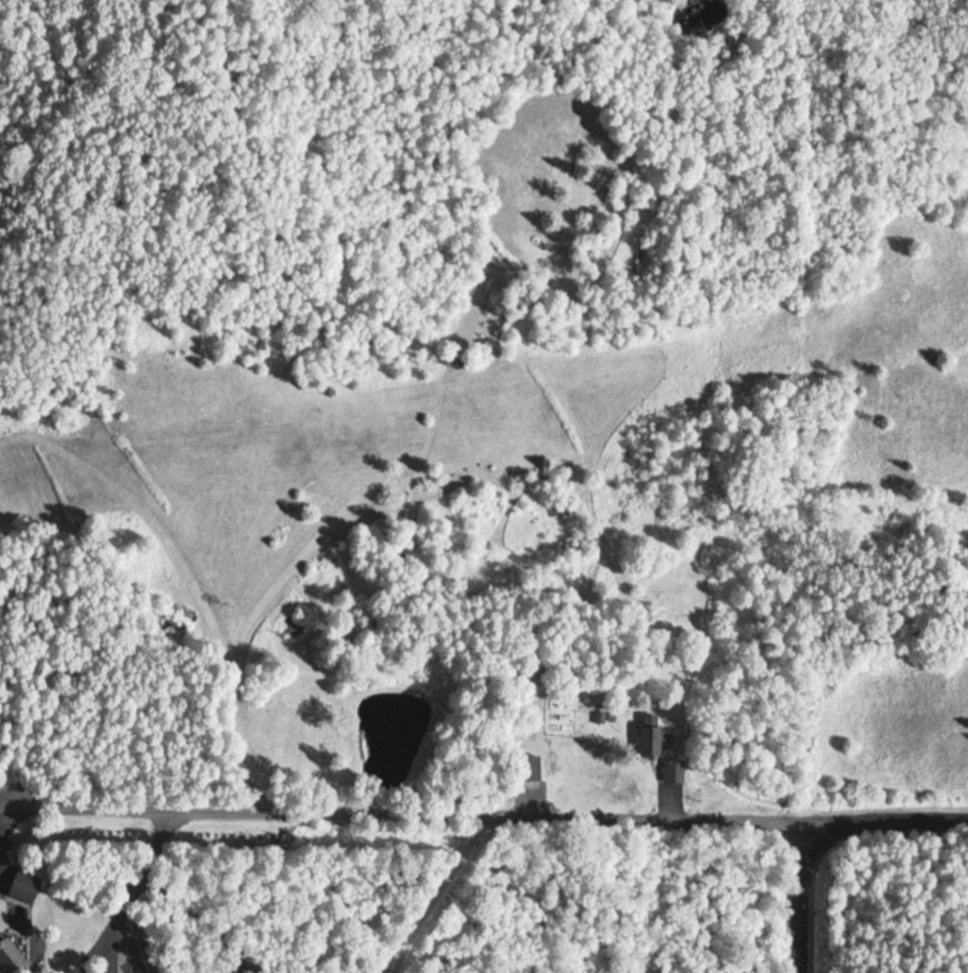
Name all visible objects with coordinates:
building: (641, 737)
building: (521, 770)
building: (664, 771)
road: (484, 818)
building: (18, 886)
road: (805, 898)
building: (5, 959)

